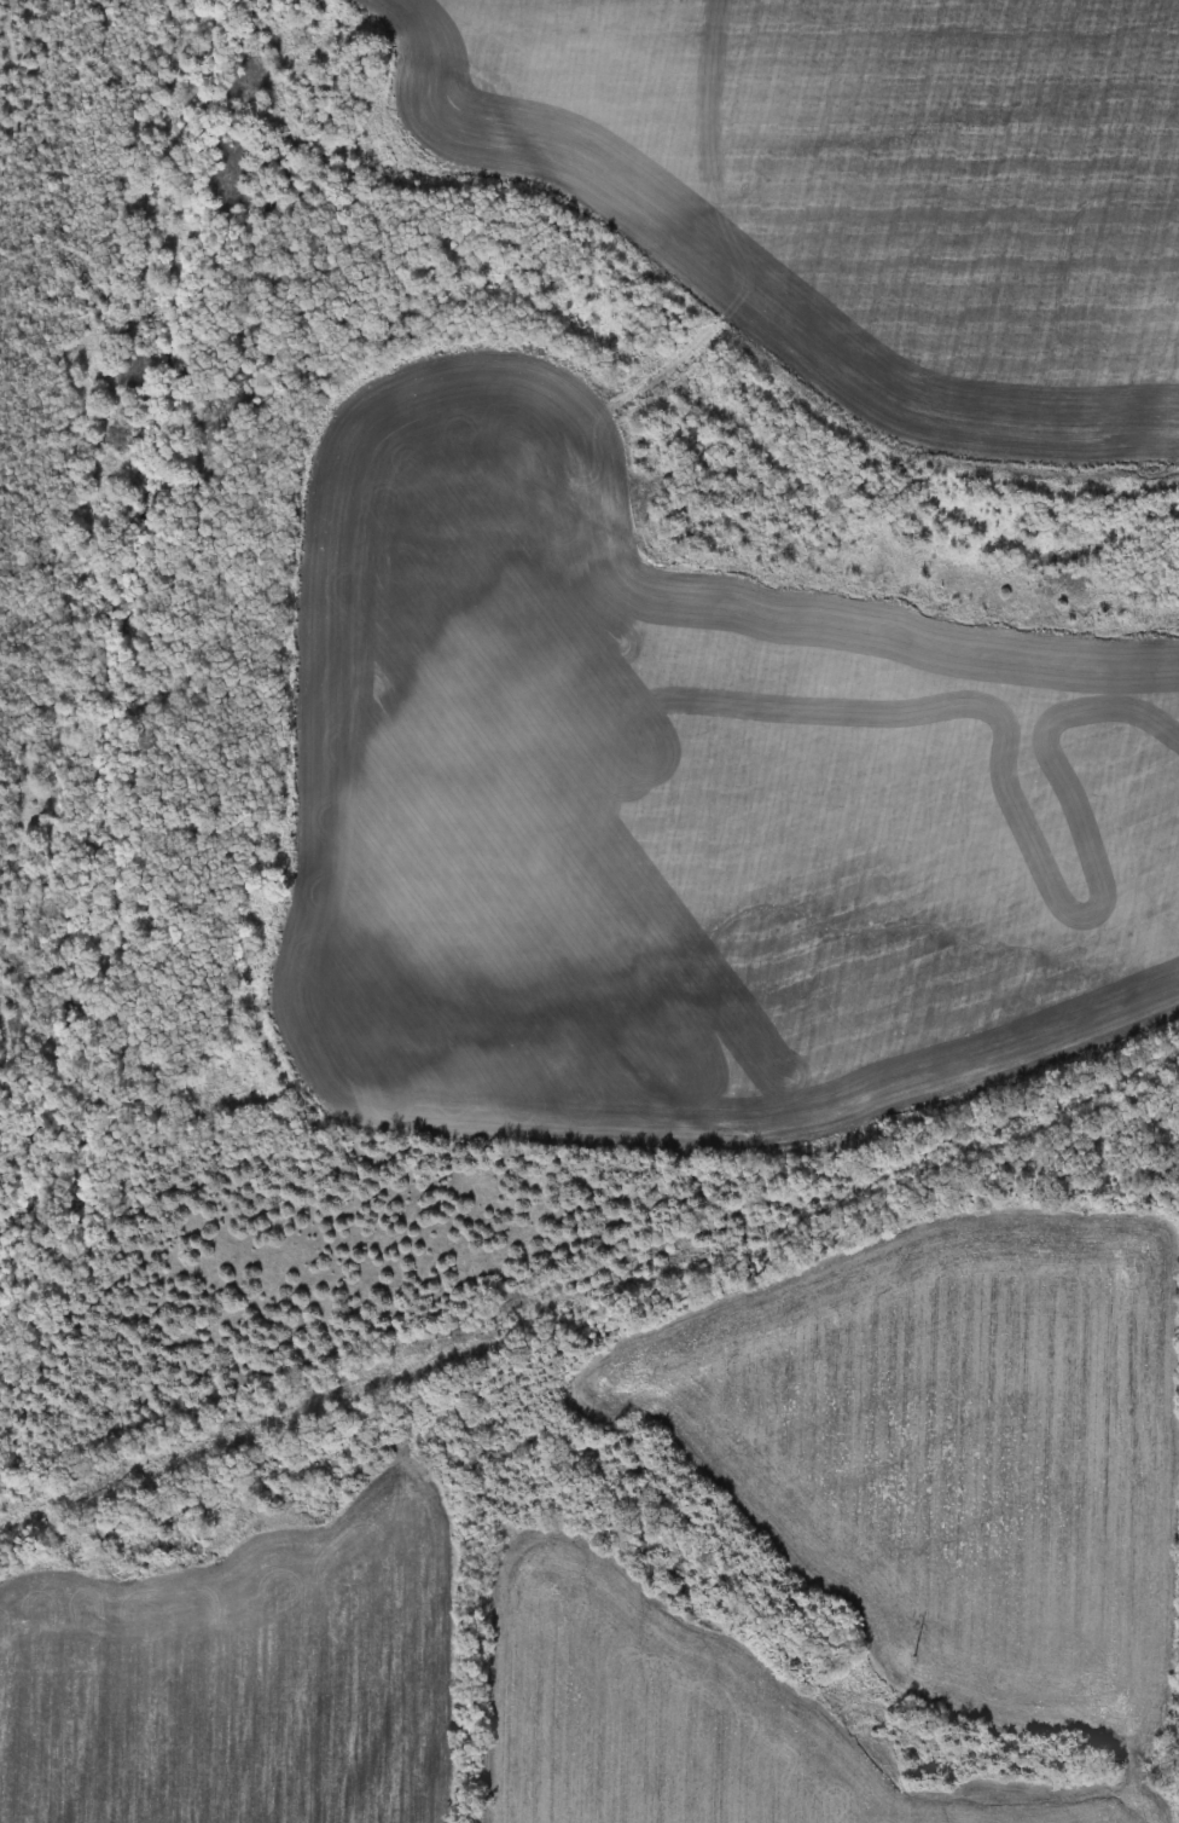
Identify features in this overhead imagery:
power tower: (919, 1657)

